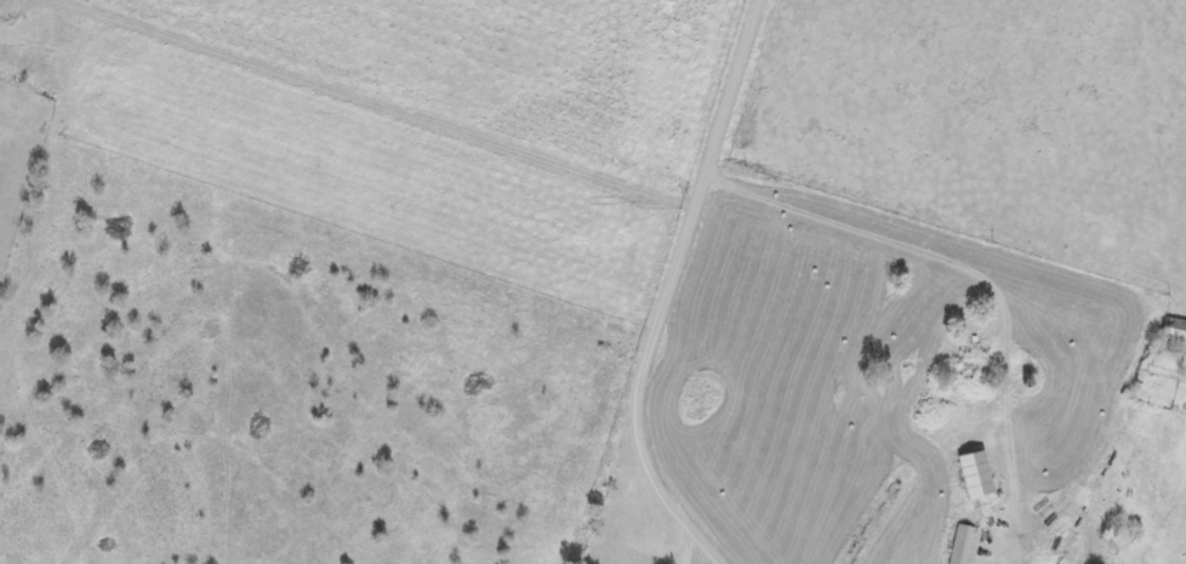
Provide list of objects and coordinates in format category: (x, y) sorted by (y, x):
road: (1, 1)
road: (97, 36)
road: (456, 90)
road: (679, 290)
building: (1175, 331)
building: (963, 545)

